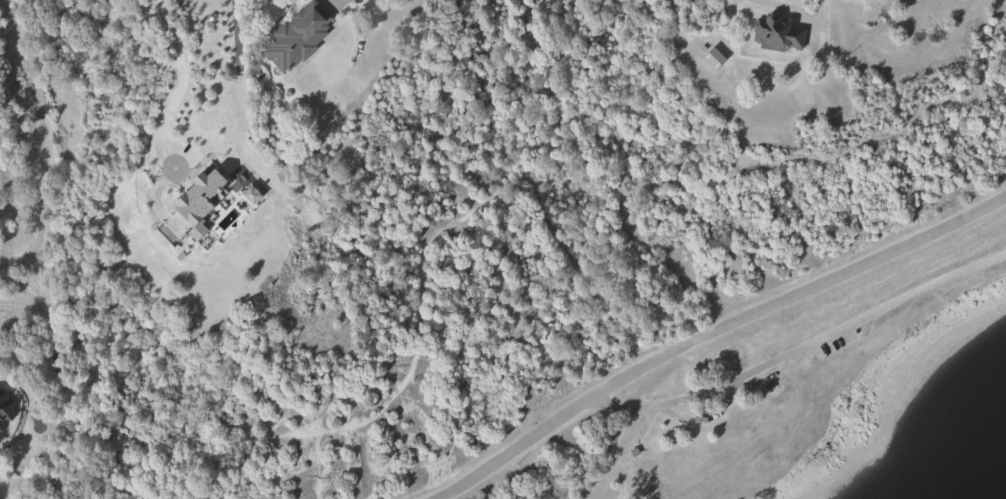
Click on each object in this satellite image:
building: (872, 4)
road: (798, 13)
building: (779, 33)
building: (297, 34)
building: (714, 58)
road: (179, 82)
road: (43, 140)
building: (149, 141)
road: (500, 191)
road: (265, 204)
building: (199, 205)
road: (1005, 254)
road: (711, 327)
parking lot: (832, 342)
road: (801, 347)
road: (766, 376)
building: (4, 407)
road: (703, 418)

